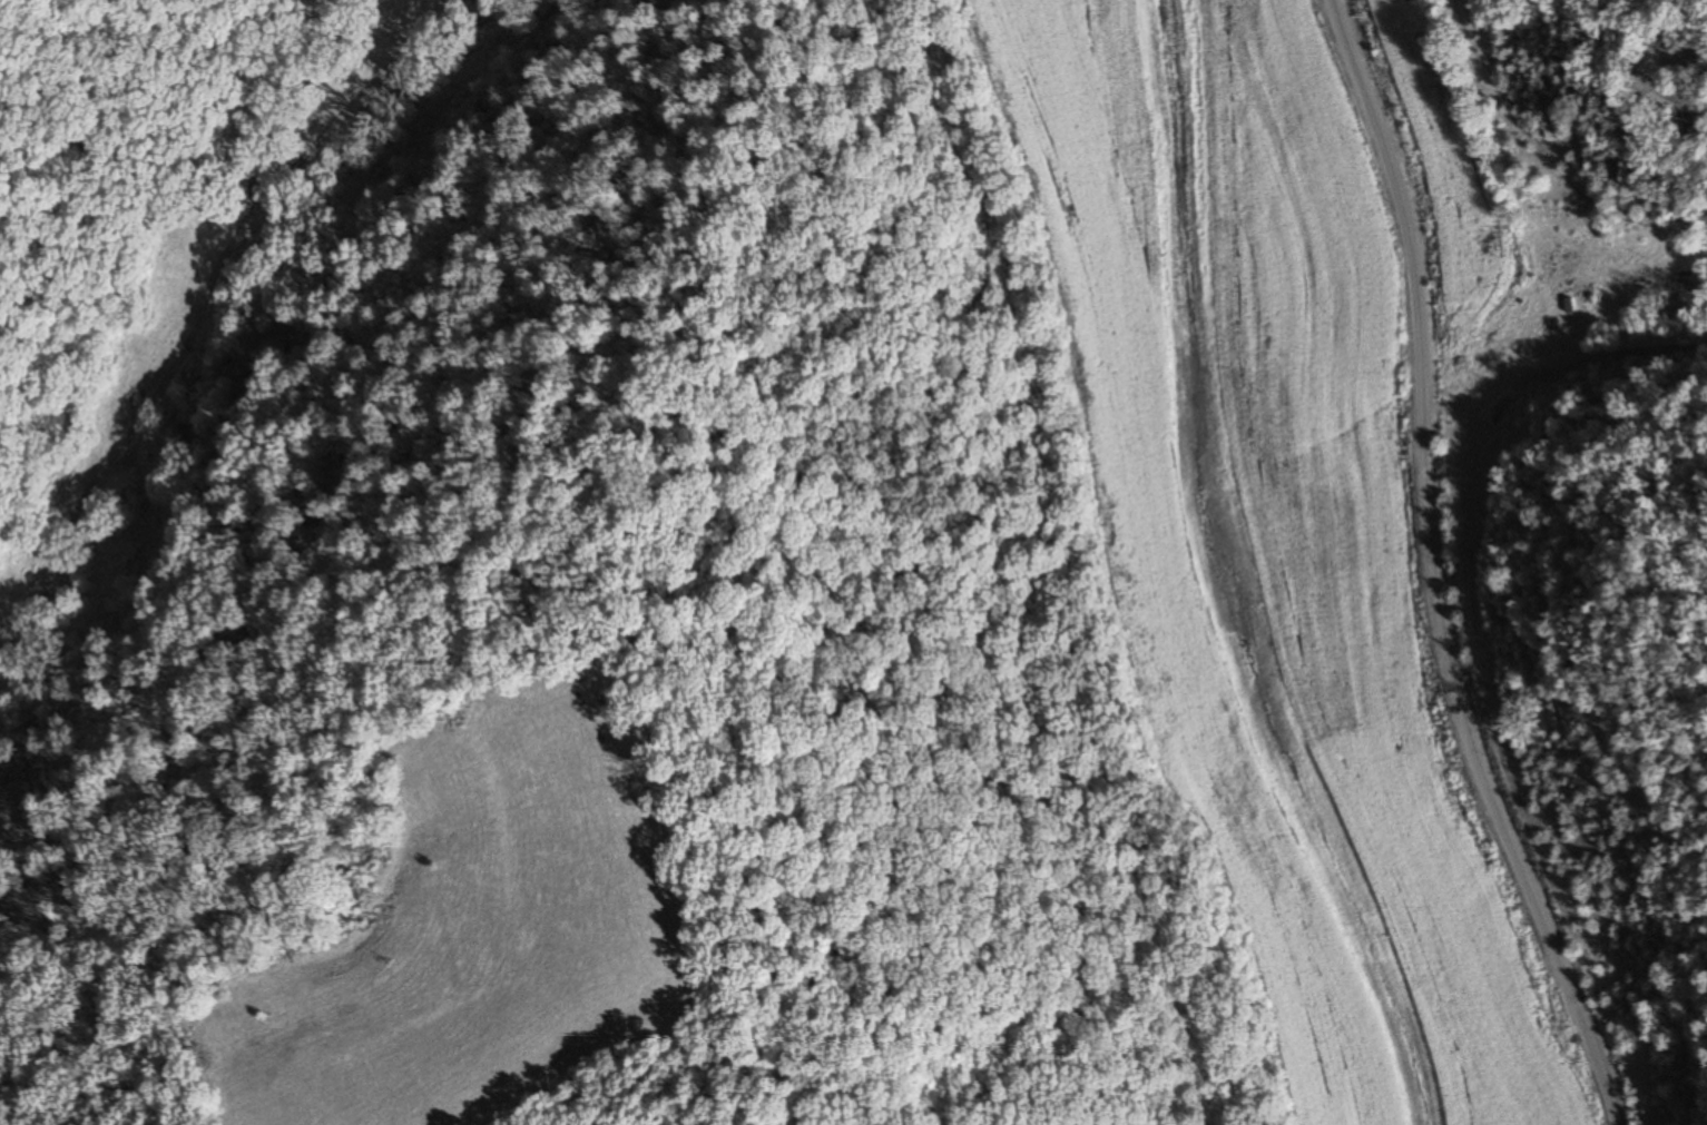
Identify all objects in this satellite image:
road: (1409, 574)

